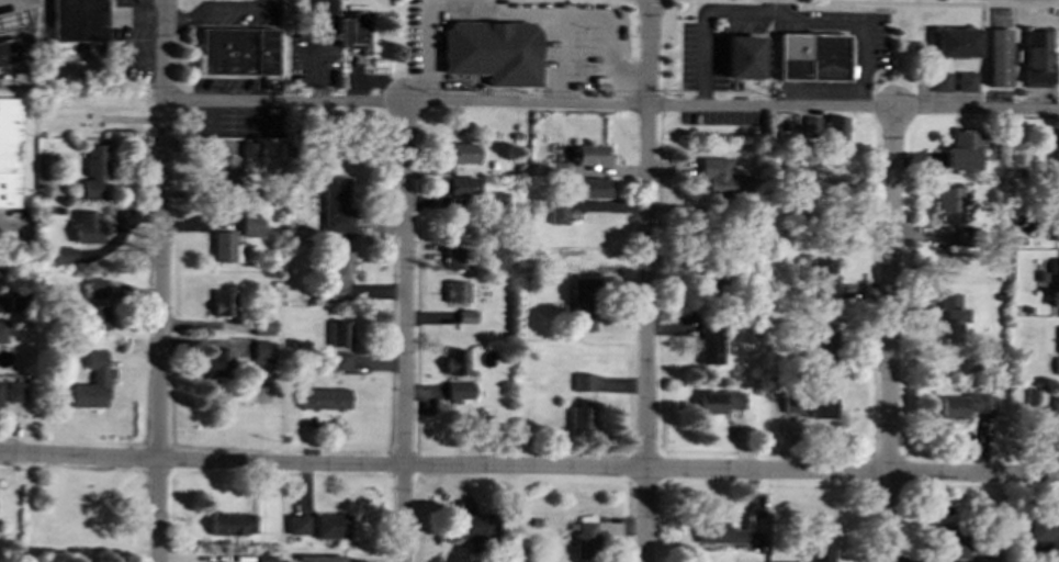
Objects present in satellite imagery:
road: (946, 2)
road: (507, 9)
building: (11, 19)
building: (78, 20)
building: (354, 32)
building: (955, 42)
building: (8, 50)
building: (237, 50)
building: (492, 50)
building: (742, 56)
building: (812, 56)
building: (998, 57)
road: (565, 58)
building: (1036, 58)
building: (939, 81)
building: (966, 81)
road: (610, 105)
building: (834, 126)
building: (248, 149)
building: (961, 149)
building: (1057, 150)
building: (9, 151)
building: (461, 151)
building: (592, 154)
building: (555, 168)
building: (224, 170)
building: (94, 171)
building: (722, 178)
building: (459, 187)
building: (592, 188)
building: (495, 202)
building: (335, 204)
building: (949, 204)
building: (557, 211)
building: (250, 224)
building: (88, 227)
building: (225, 247)
building: (64, 255)
building: (454, 258)
building: (337, 273)
building: (822, 279)
road: (161, 280)
road: (646, 280)
building: (708, 282)
building: (455, 291)
building: (1056, 292)
building: (18, 301)
building: (222, 303)
building: (583, 303)
building: (465, 316)
building: (94, 317)
building: (950, 318)
building: (261, 325)
building: (2, 330)
road: (404, 331)
building: (337, 333)
road: (890, 335)
building: (824, 336)
building: (1058, 336)
building: (707, 342)
building: (261, 351)
building: (337, 360)
building: (454, 361)
building: (823, 361)
building: (217, 363)
building: (1057, 366)
building: (92, 382)
building: (583, 382)
building: (0, 387)
building: (458, 387)
building: (14, 391)
building: (1033, 395)
building: (323, 397)
building: (718, 401)
building: (810, 405)
building: (964, 405)
building: (1055, 408)
building: (581, 415)
road: (529, 469)
road: (37, 509)
building: (232, 524)
building: (296, 524)
building: (329, 526)
building: (472, 526)
building: (1043, 530)
building: (717, 532)
building: (585, 539)
building: (951, 540)
building: (820, 547)
building: (262, 558)
building: (319, 558)
building: (984, 559)

